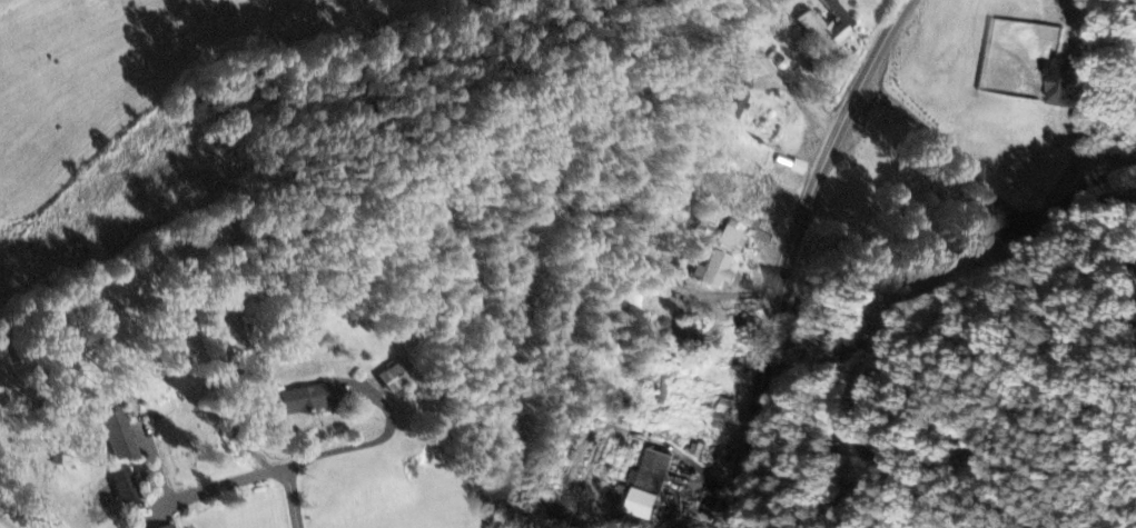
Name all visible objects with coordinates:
building: (828, 27)
building: (1060, 87)
building: (733, 106)
road: (944, 141)
building: (798, 168)
road: (1070, 190)
building: (732, 237)
road: (793, 252)
building: (714, 272)
building: (395, 379)
building: (306, 401)
building: (721, 416)
building: (115, 435)
road: (870, 455)
road: (312, 458)
building: (644, 486)
building: (126, 488)
building: (174, 527)

